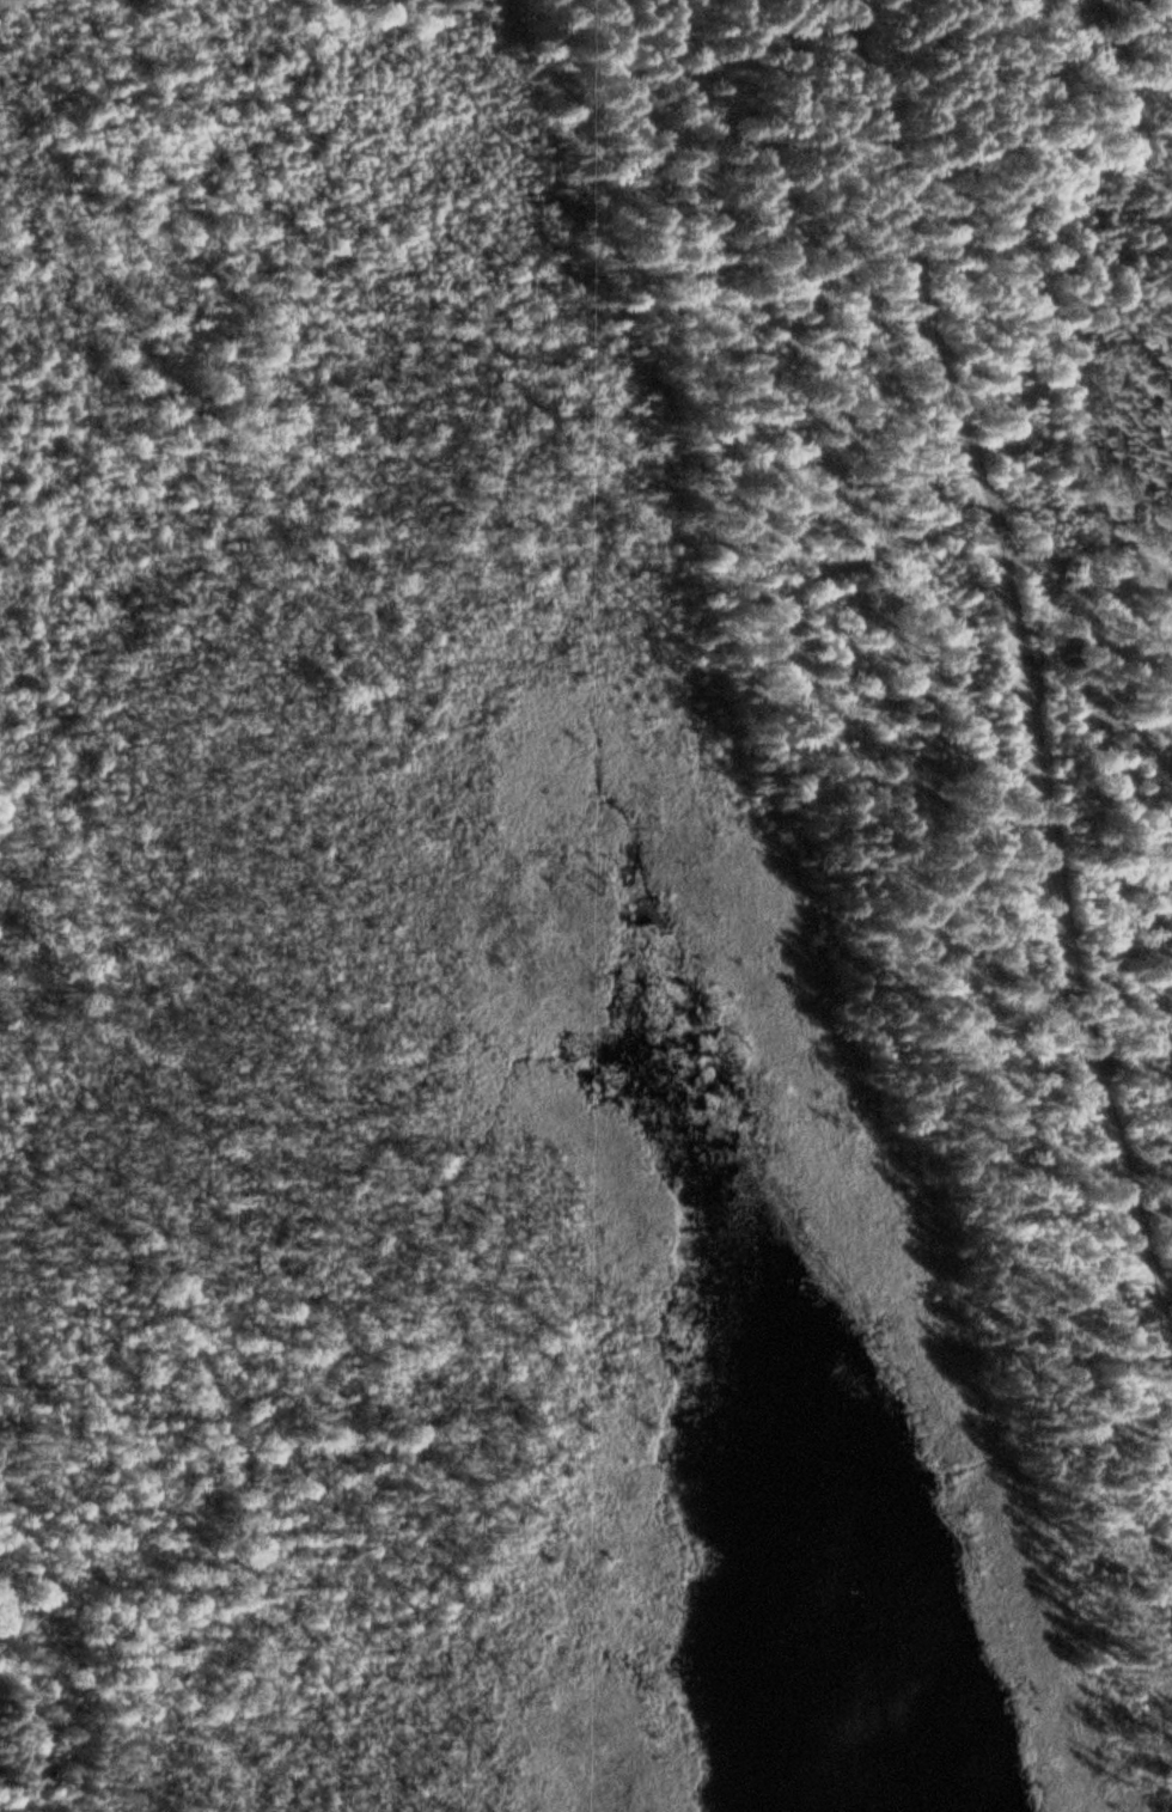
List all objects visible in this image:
road: (1024, 659)

